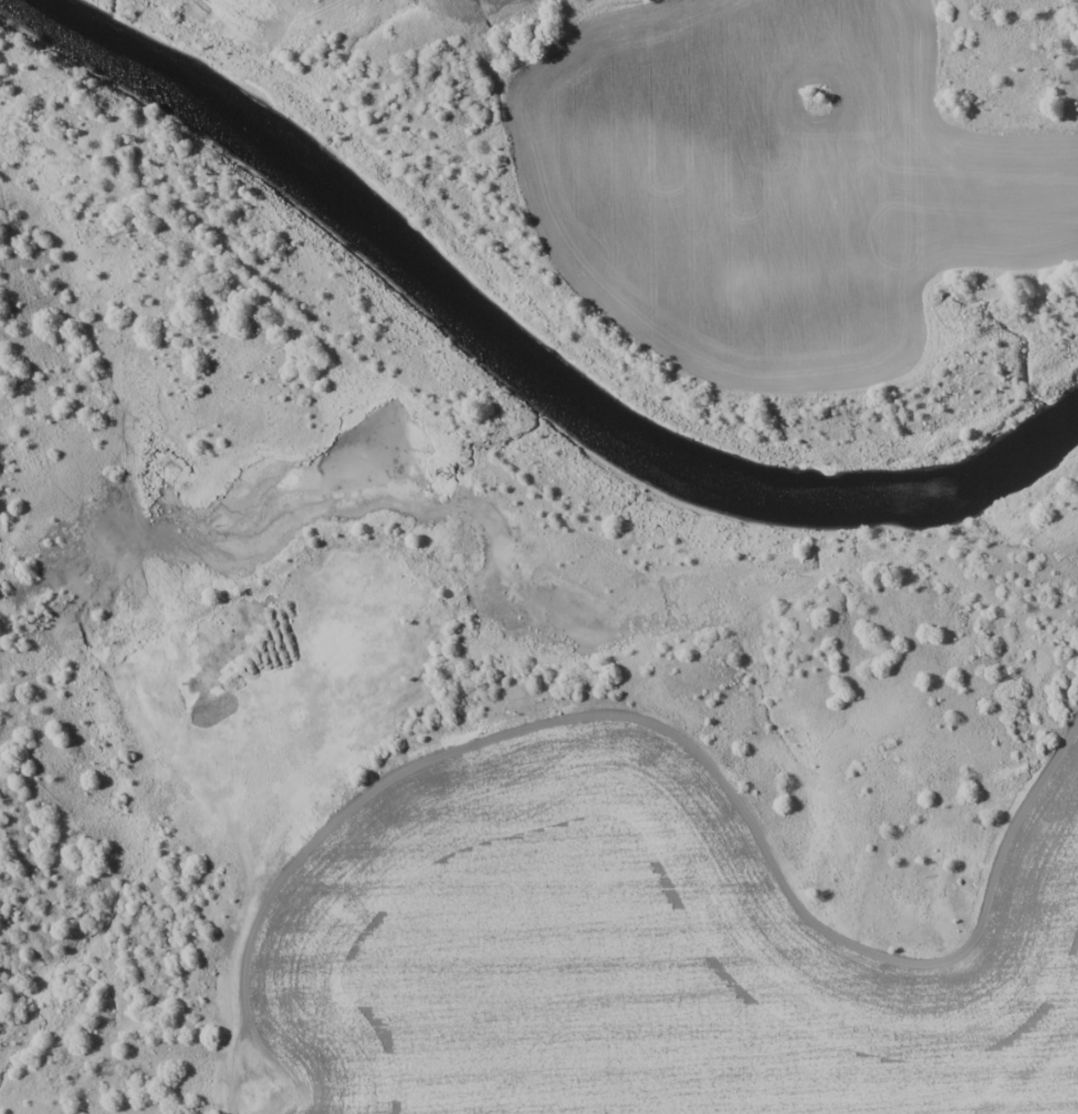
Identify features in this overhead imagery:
road: (67, 1094)

